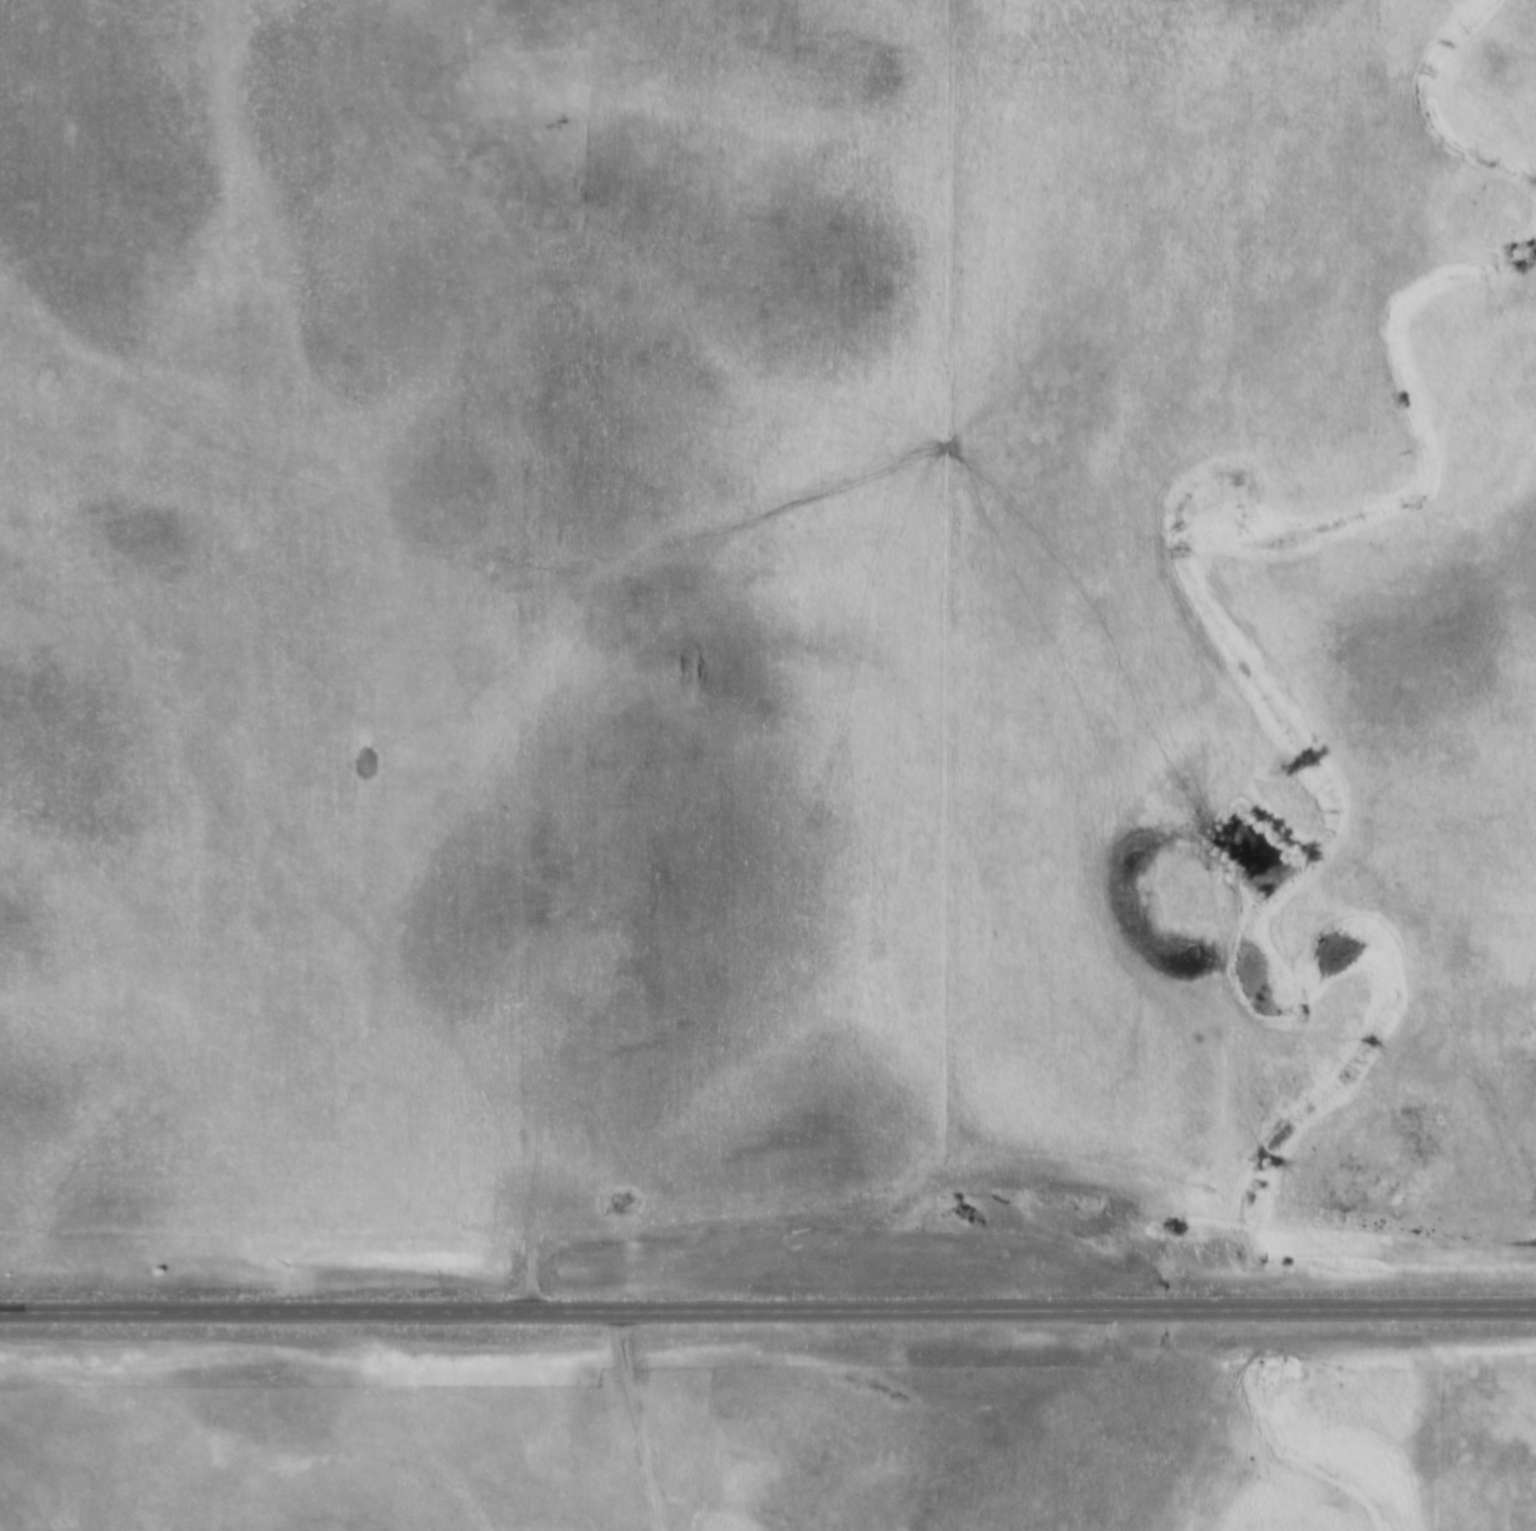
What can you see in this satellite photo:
road: (705, 1314)
road: (1473, 1316)

